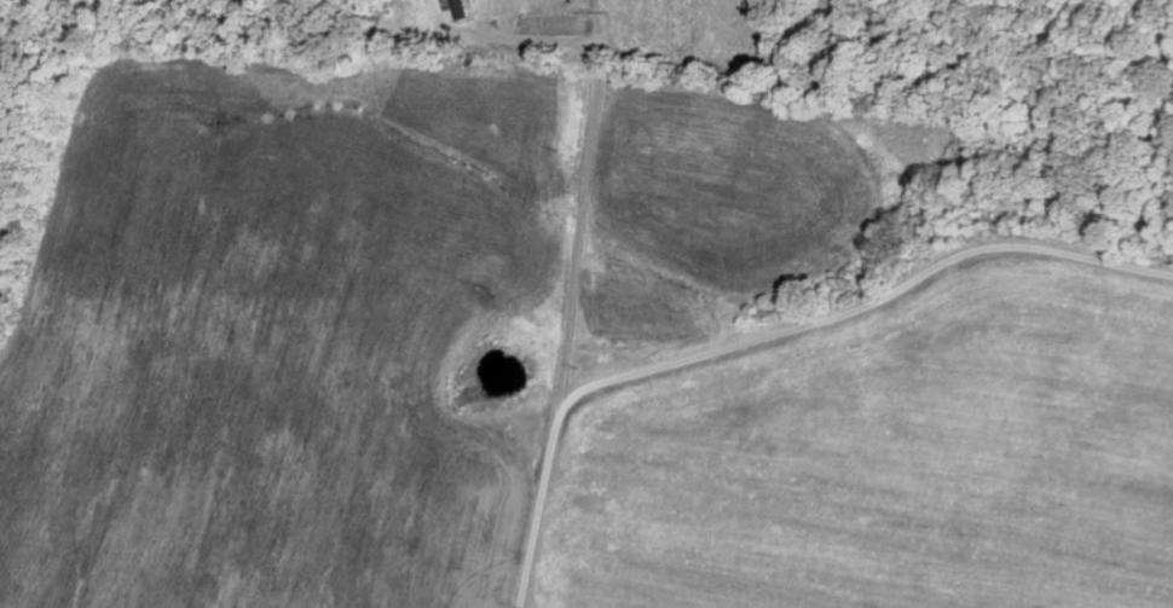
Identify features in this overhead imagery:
road: (574, 305)
road: (868, 307)

